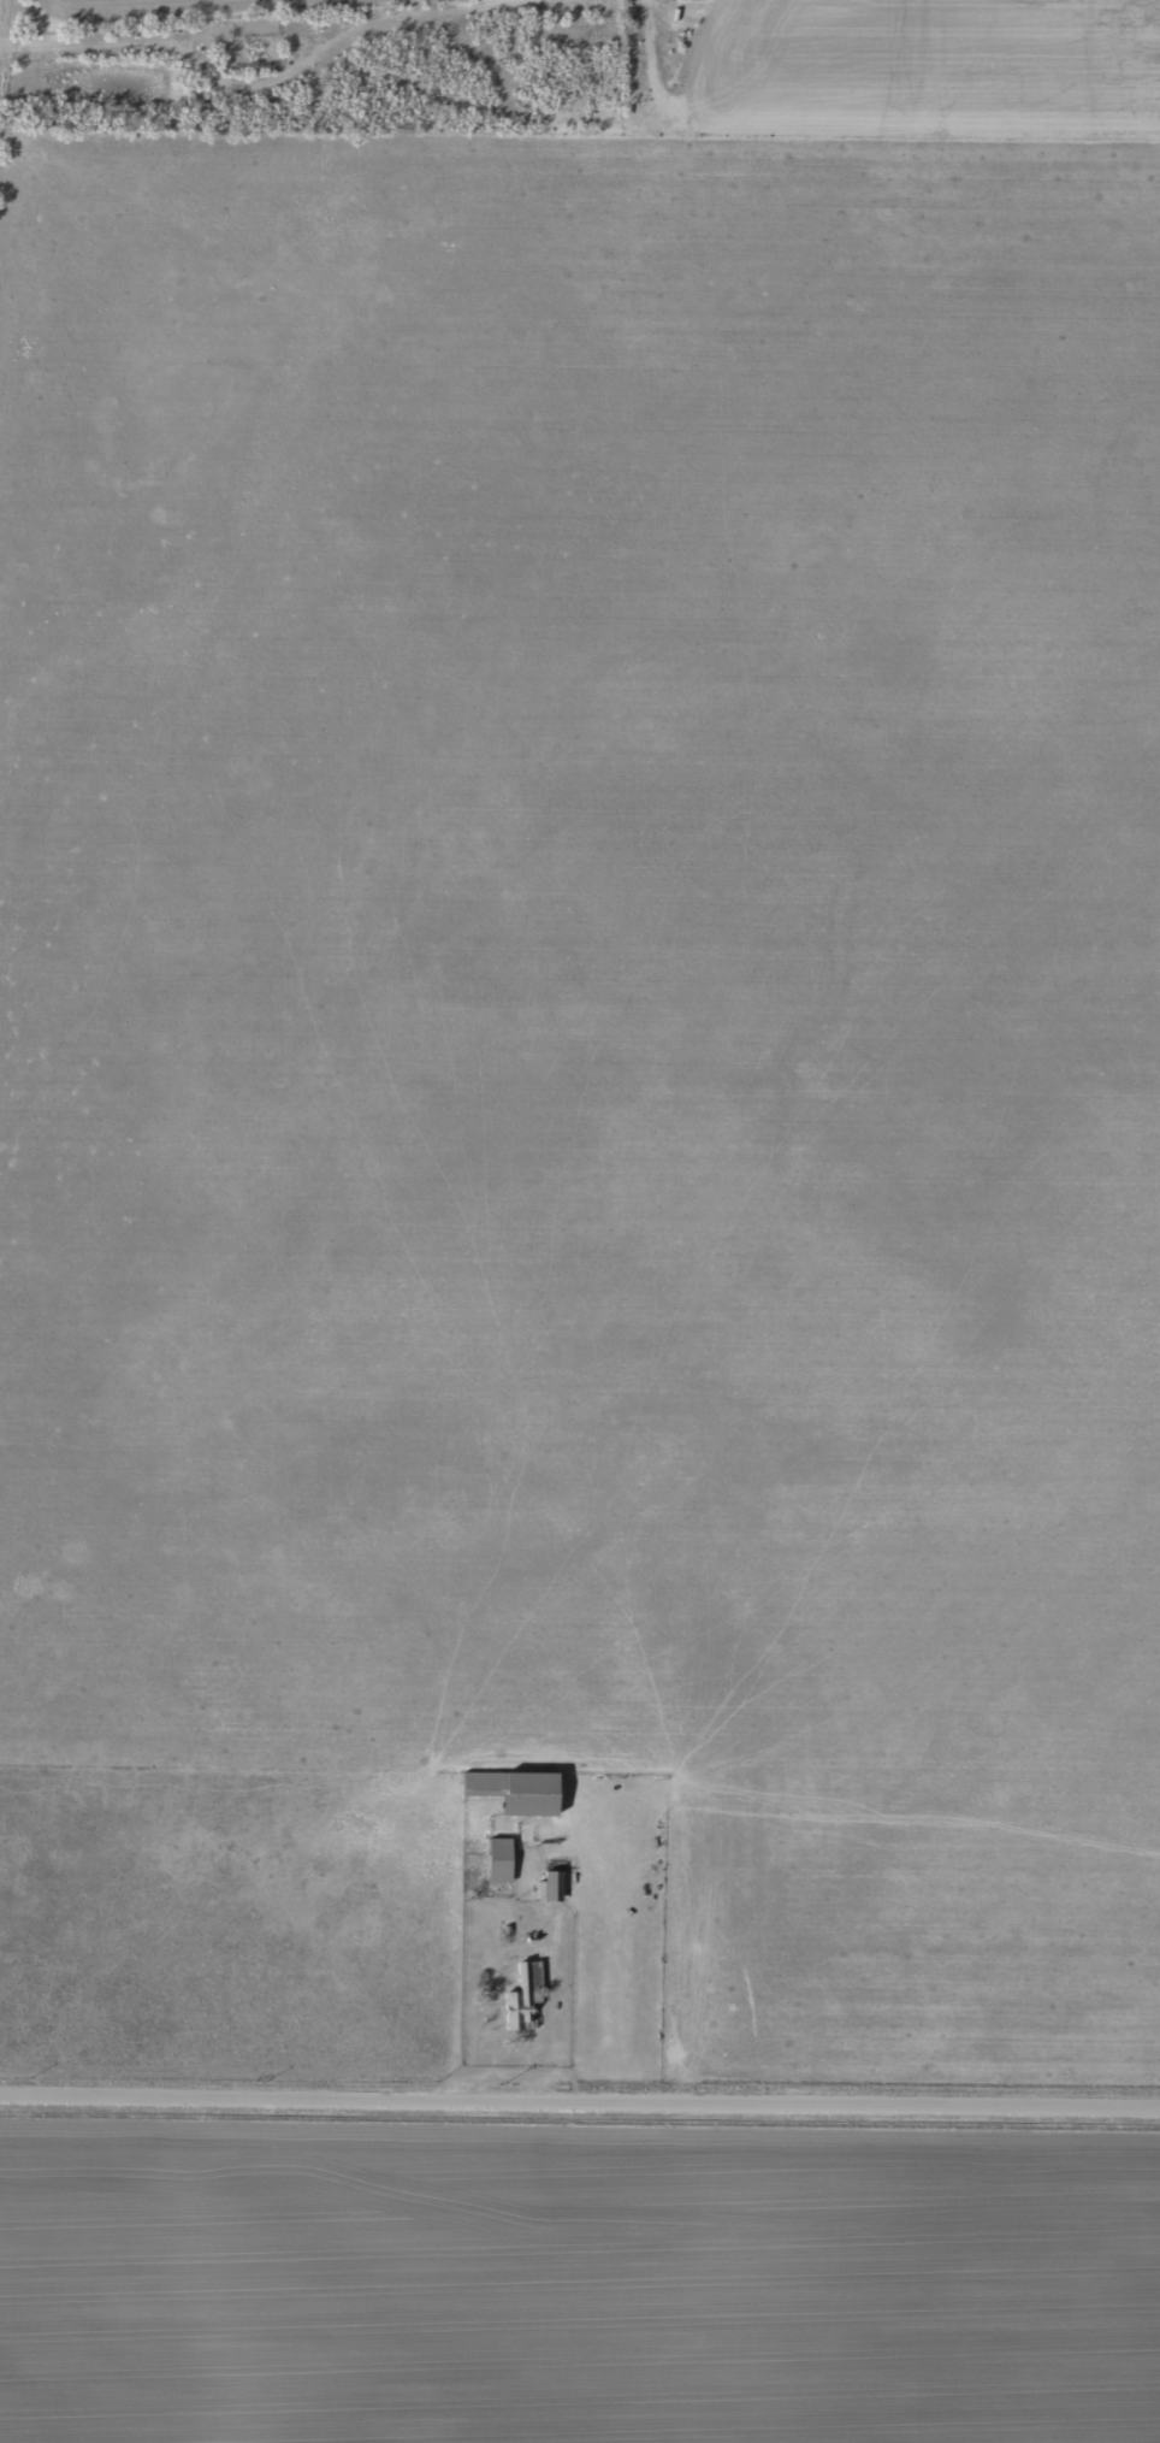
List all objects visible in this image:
building: (525, 1795)
building: (497, 1860)
building: (546, 1887)
building: (521, 2001)
road: (580, 2112)

